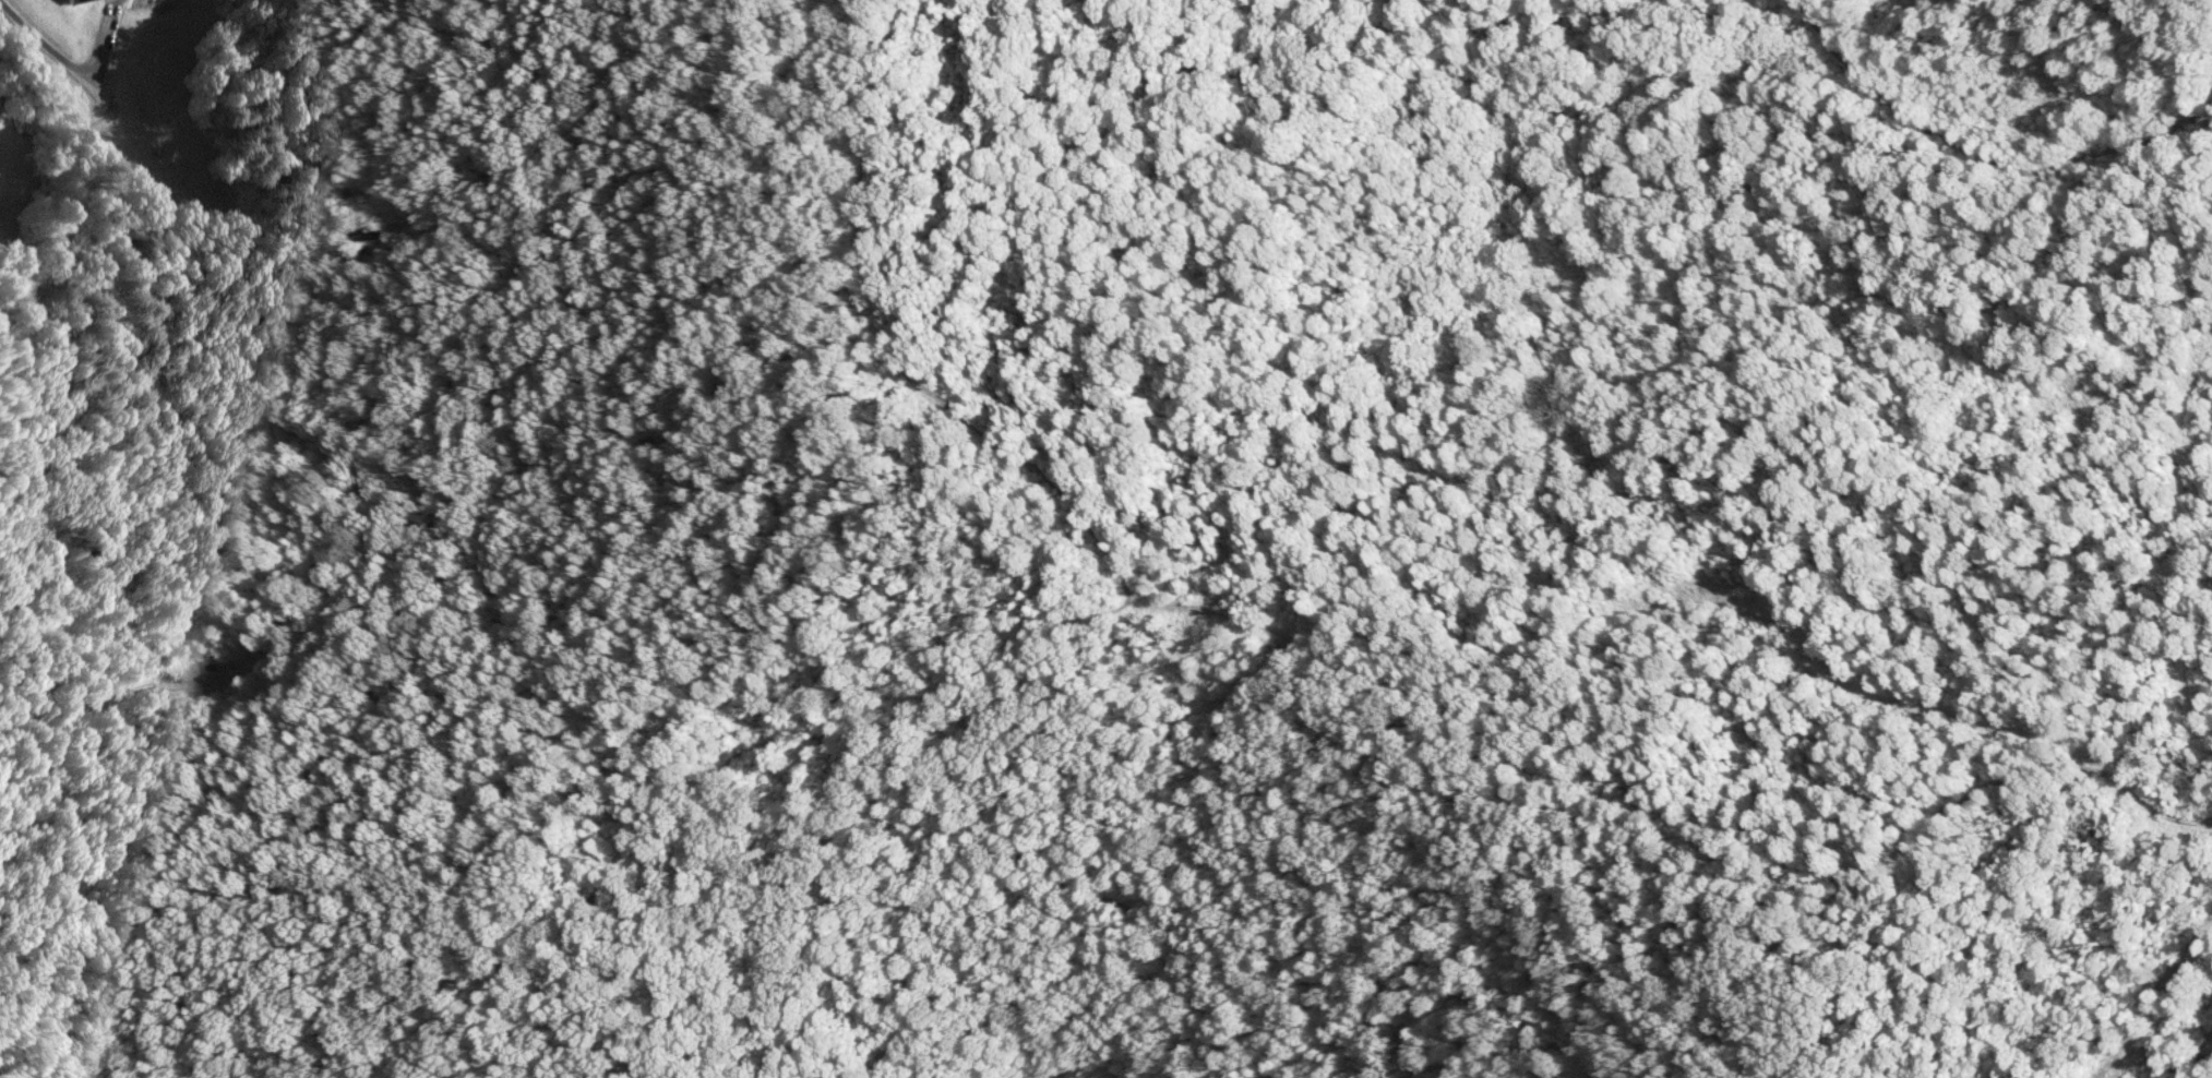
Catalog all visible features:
building: (72, 1)
road: (75, 64)

